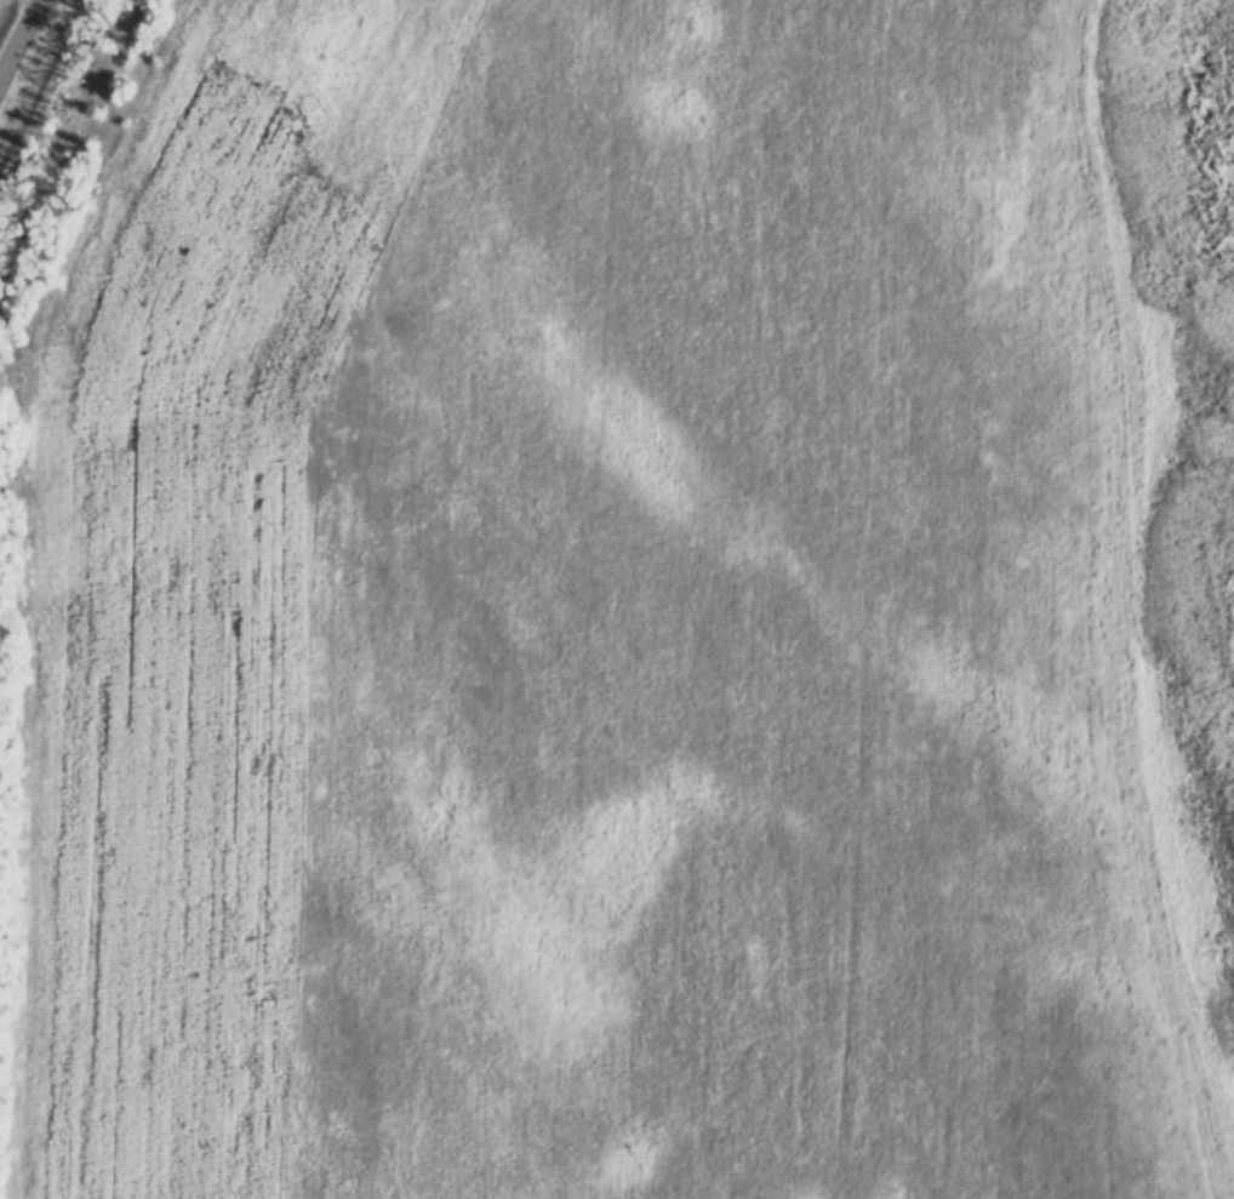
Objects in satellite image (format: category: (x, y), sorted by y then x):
road: (22, 42)

